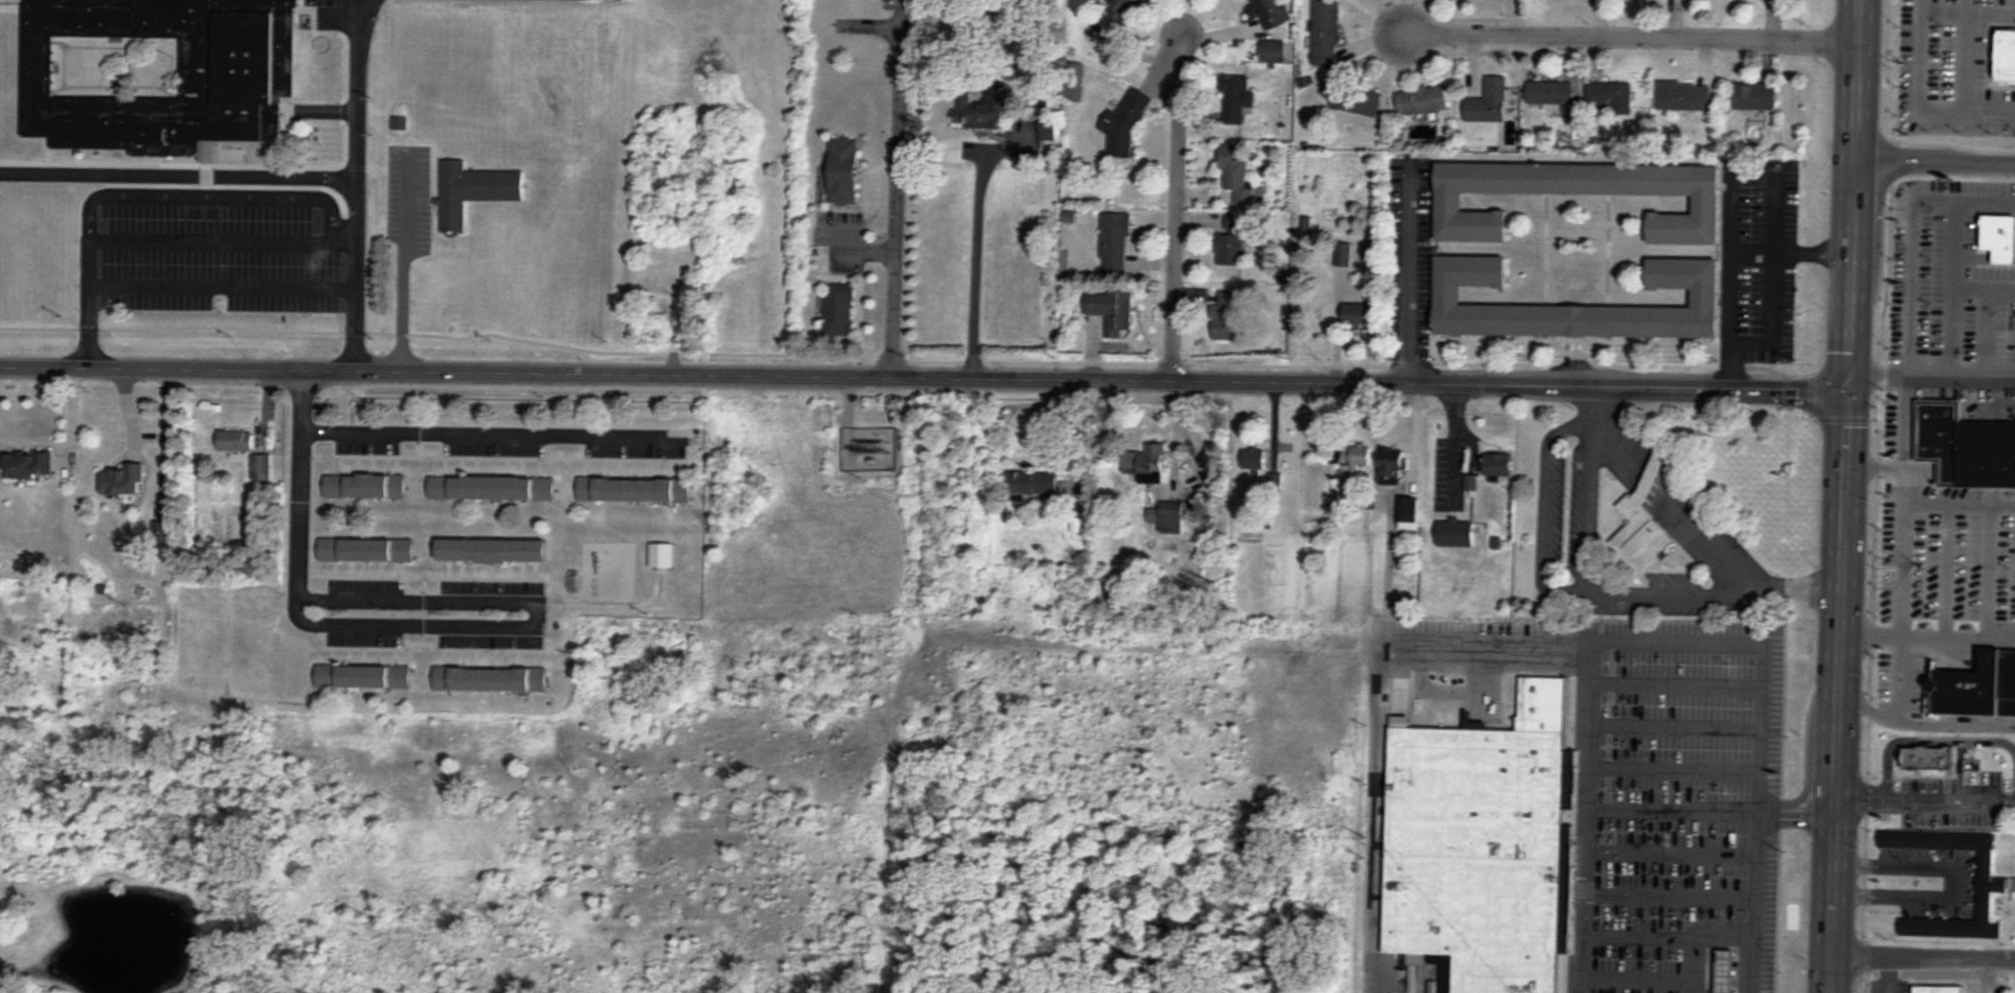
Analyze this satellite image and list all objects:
building: (1126, 5)
building: (1268, 13)
road: (1418, 27)
building: (1325, 31)
road: (1647, 32)
building: (1273, 50)
building: (2005, 54)
building: (157, 72)
building: (1550, 92)
building: (1351, 96)
building: (1684, 96)
building: (1750, 96)
building: (1236, 97)
building: (1611, 97)
building: (1421, 99)
building: (1488, 101)
building: (978, 109)
building: (1126, 116)
road: (1934, 158)
building: (844, 171)
road: (177, 176)
building: (1237, 176)
road: (354, 183)
road: (894, 188)
building: (471, 192)
road: (146, 194)
road: (1851, 195)
road: (1173, 196)
building: (1706, 202)
building: (1996, 234)
road: (221, 242)
building: (1115, 243)
road: (977, 246)
road: (1789, 247)
building: (1230, 248)
building: (1343, 253)
road: (1773, 255)
road: (399, 259)
road: (1411, 272)
road: (1728, 282)
road: (221, 289)
building: (1705, 296)
building: (839, 309)
building: (1112, 310)
building: (1356, 315)
building: (1228, 316)
road: (922, 378)
traffic signals: (1845, 390)
road: (498, 431)
road: (1451, 438)
building: (236, 440)
building: (1966, 446)
power substation: (871, 448)
building: (1359, 458)
building: (1254, 460)
building: (1392, 463)
building: (29, 465)
building: (1153, 465)
building: (1499, 465)
building: (262, 467)
building: (121, 481)
building: (1031, 483)
building: (365, 486)
building: (492, 487)
building: (634, 490)
road: (1388, 507)
building: (1409, 514)
road: (1907, 520)
building: (1641, 525)
road: (298, 531)
building: (1456, 533)
building: (366, 549)
building: (492, 549)
road: (419, 609)
road: (1926, 631)
road: (1616, 639)
road: (1900, 674)
building: (363, 676)
building: (490, 679)
building: (1978, 687)
road: (1836, 691)
road: (1379, 713)
road: (1924, 721)
building: (1925, 753)
building: (1478, 844)
building: (1996, 883)
road: (1751, 901)
road: (1922, 954)
building: (1724, 971)
building: (1937, 984)

